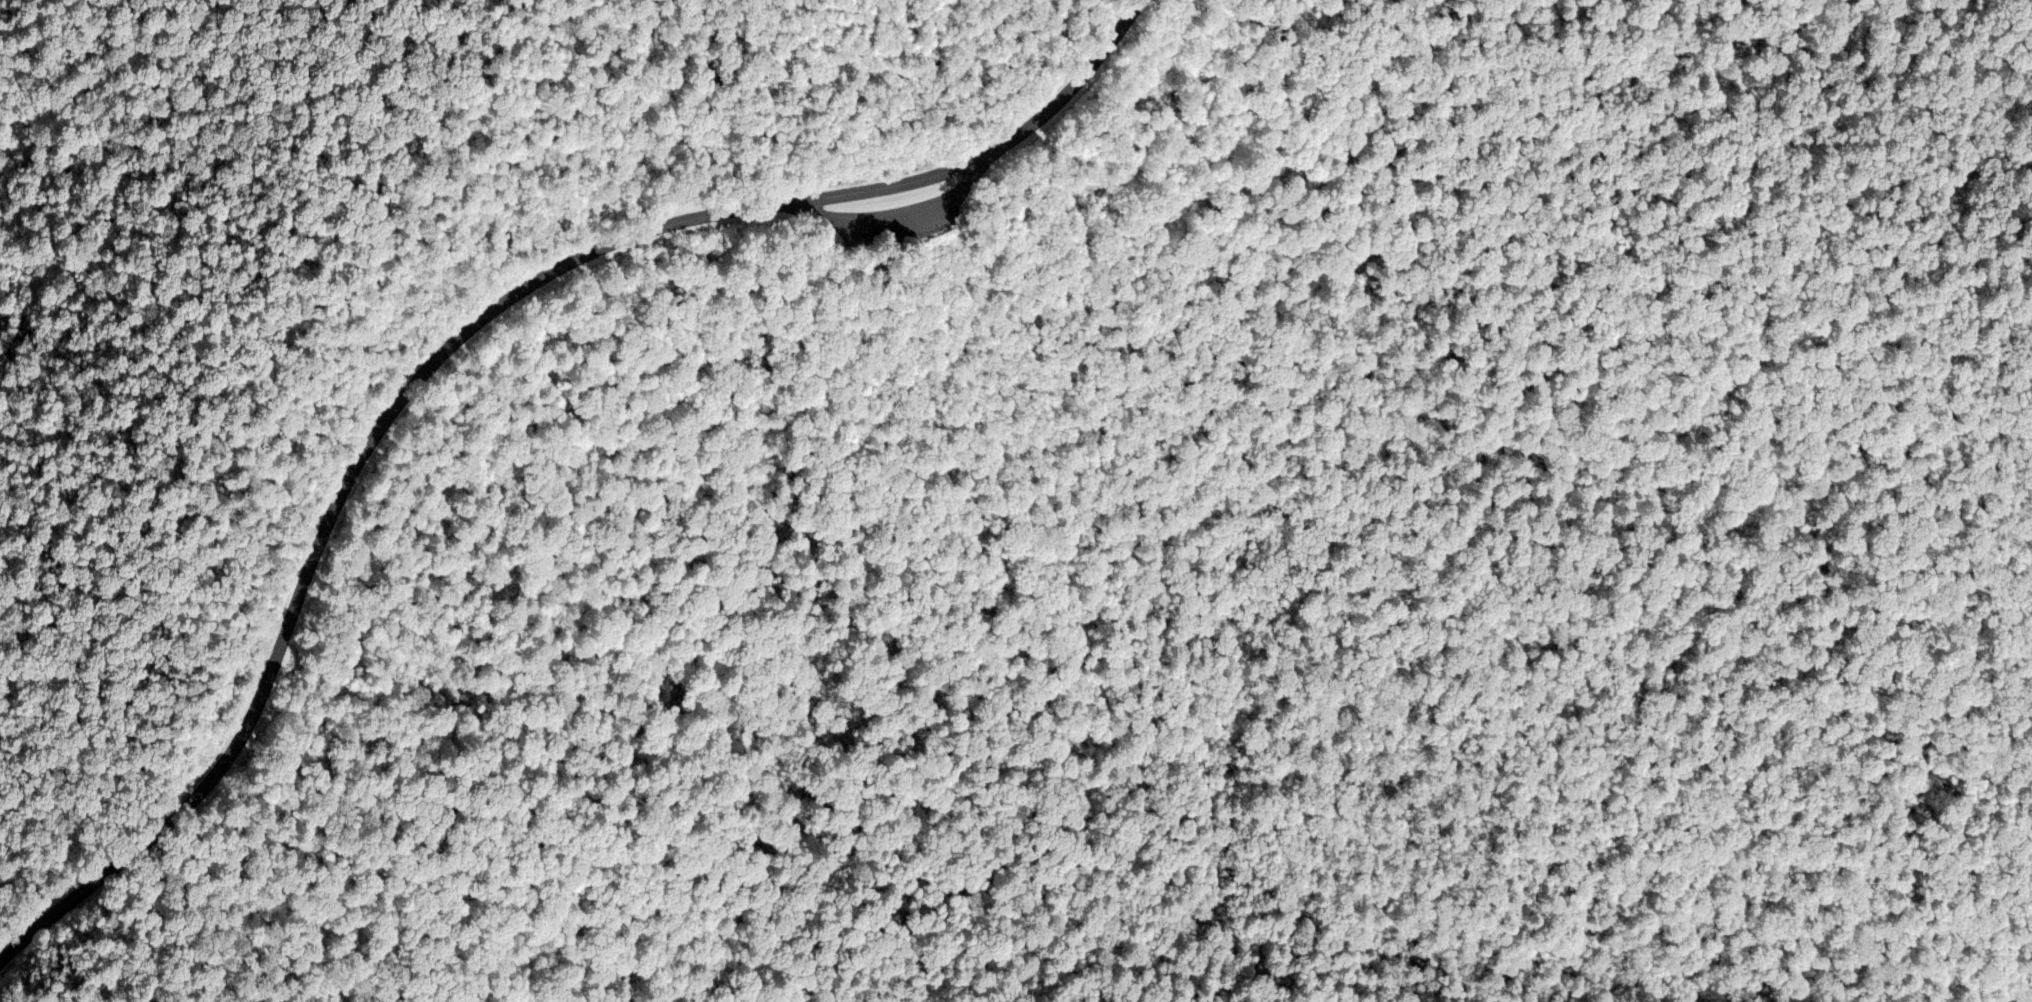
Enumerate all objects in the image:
road: (895, 213)
parking lot: (891, 215)
road: (532, 281)
road: (246, 430)
road: (71, 898)

